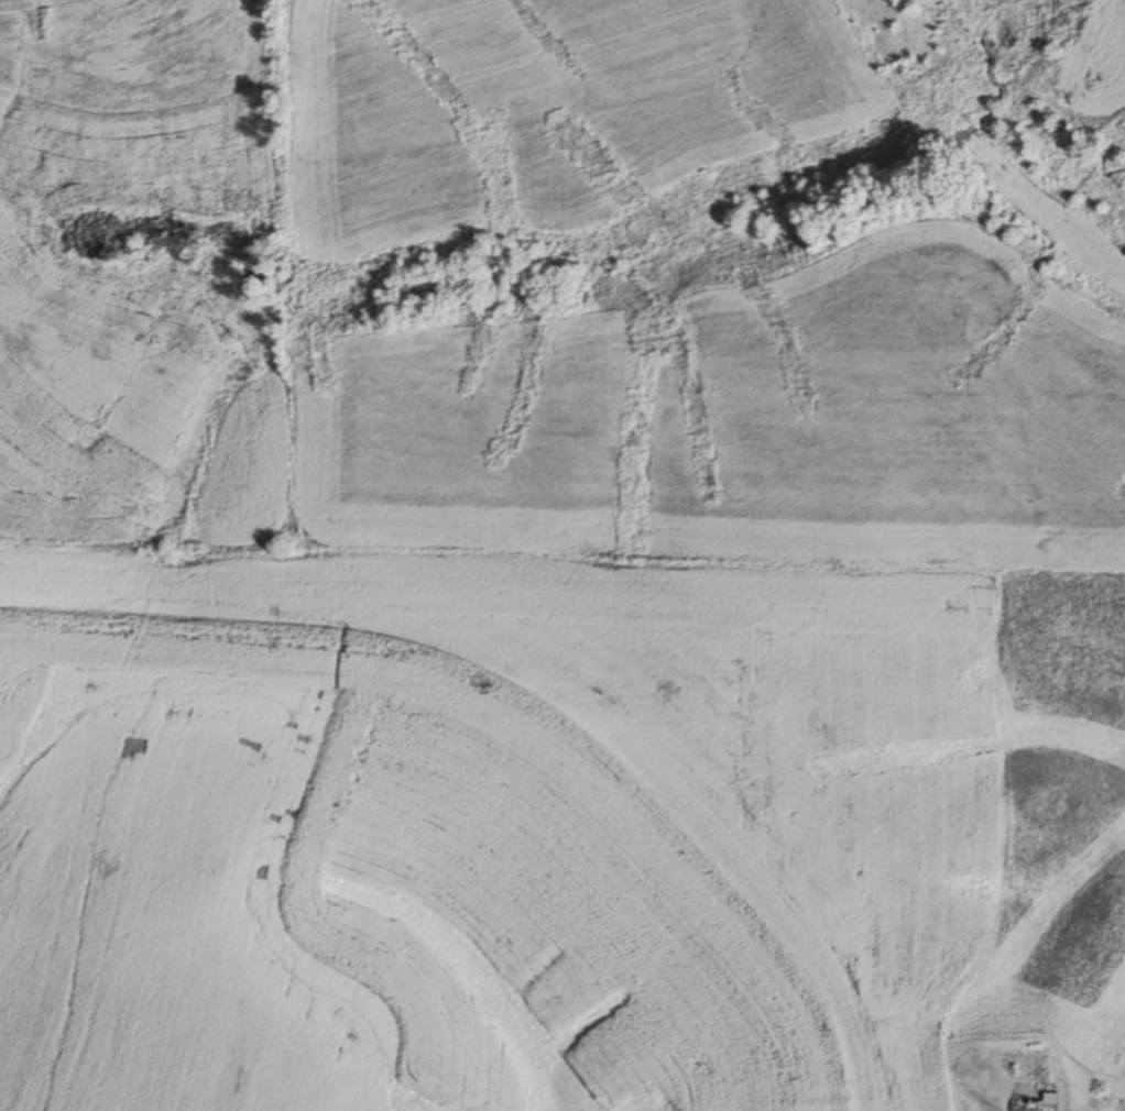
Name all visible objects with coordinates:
building: (1029, 1083)

